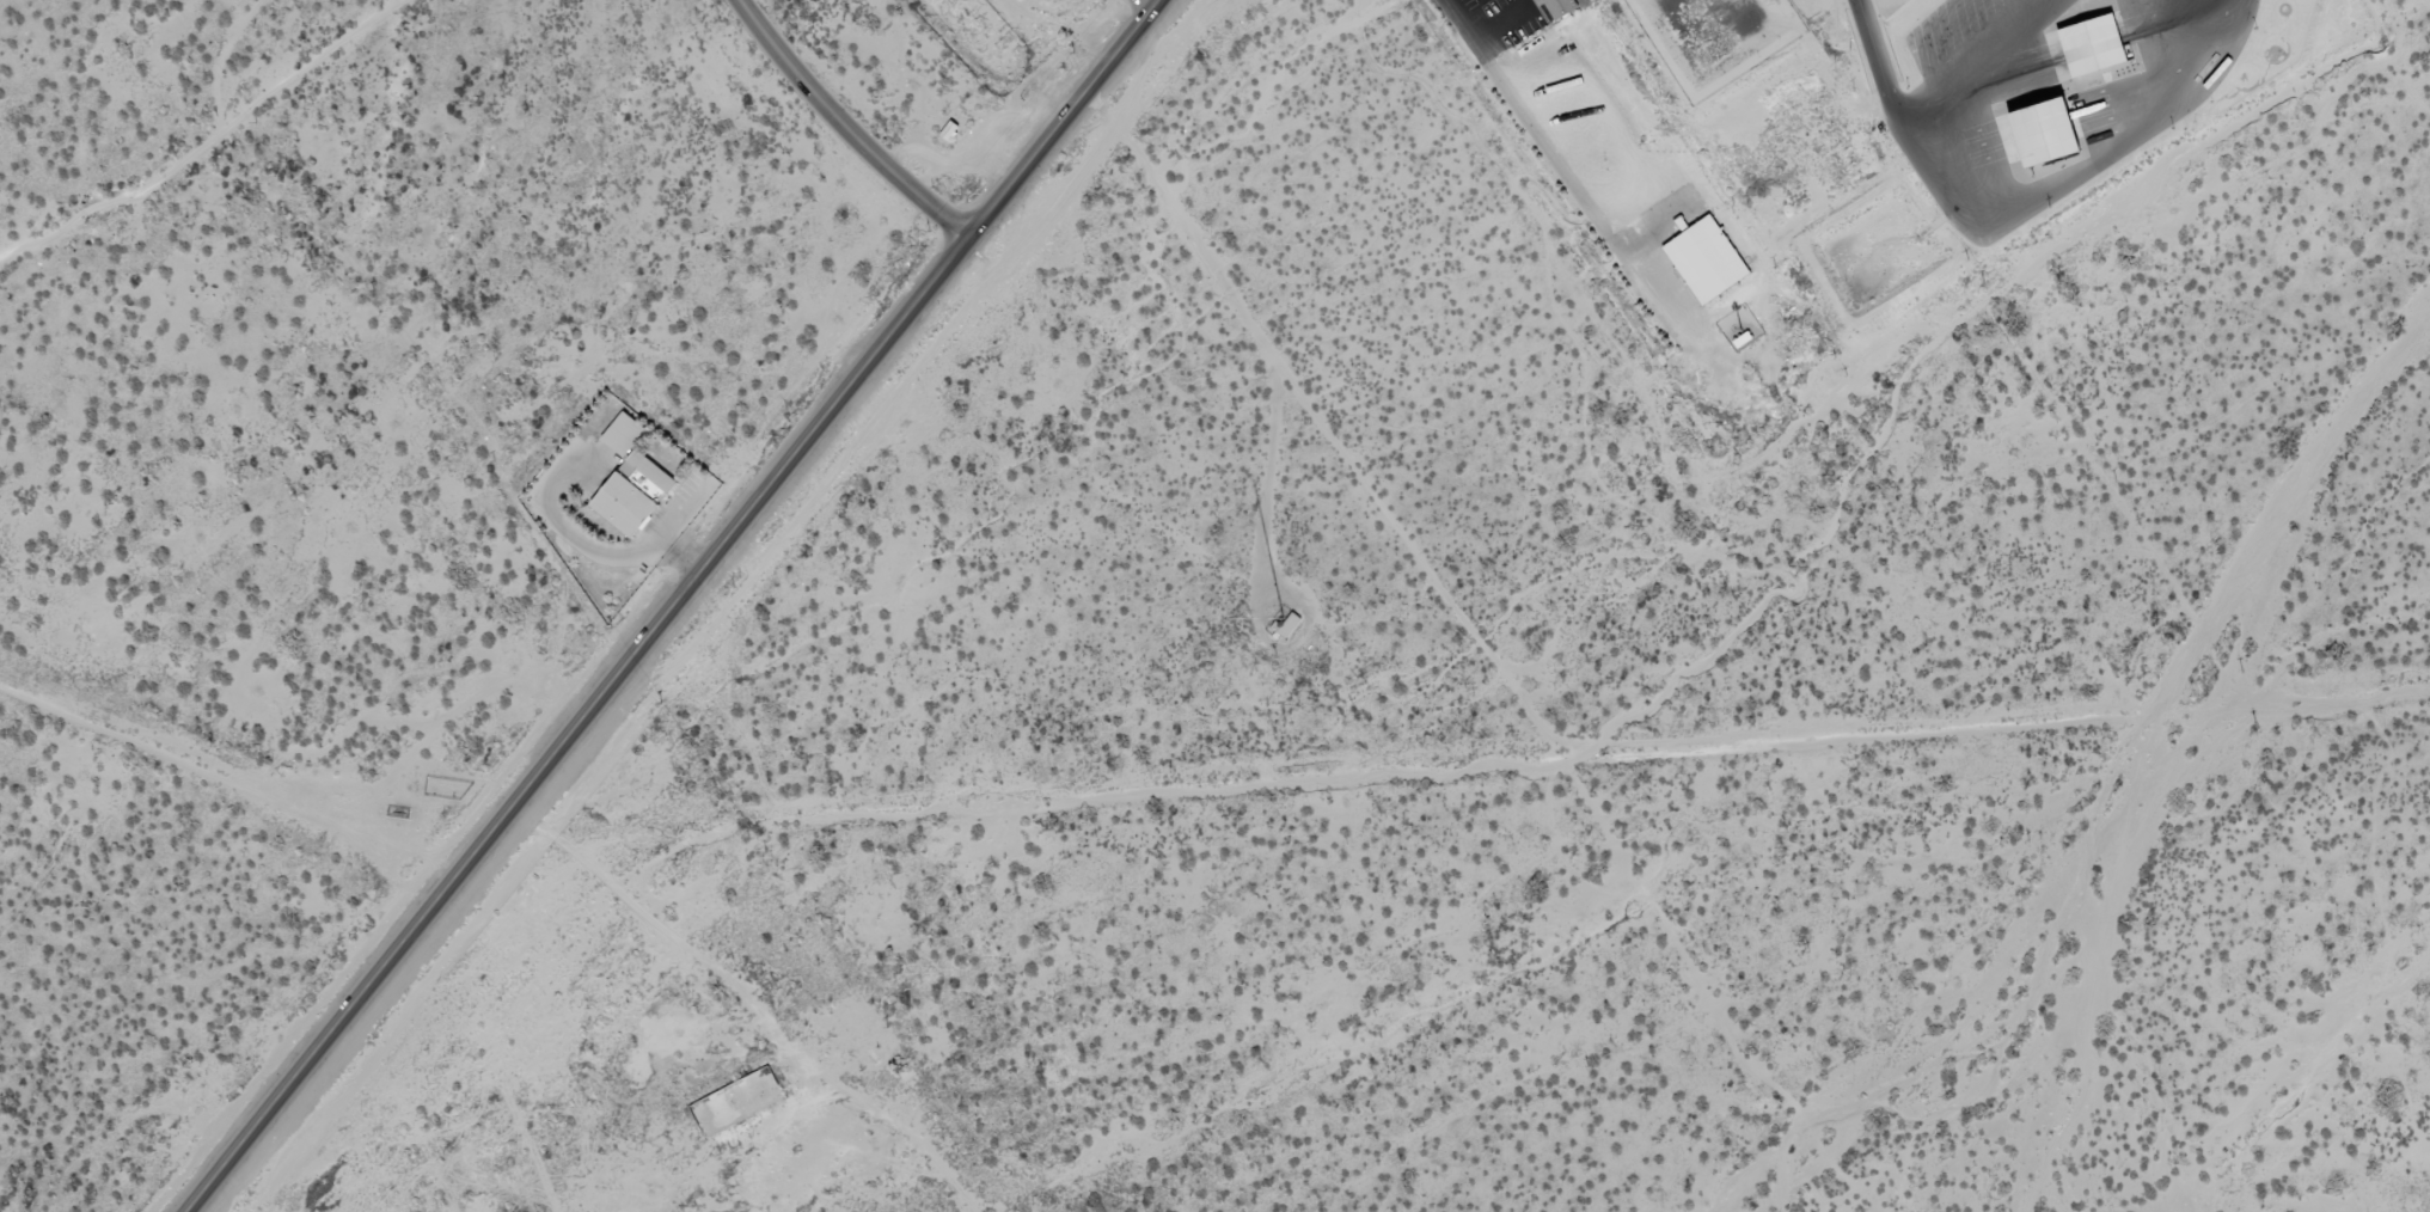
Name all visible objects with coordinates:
building: (1557, 7)
road: (844, 127)
road: (208, 145)
road: (1556, 161)
building: (1706, 261)
building: (623, 435)
building: (632, 494)
road: (673, 606)
road: (1450, 767)

